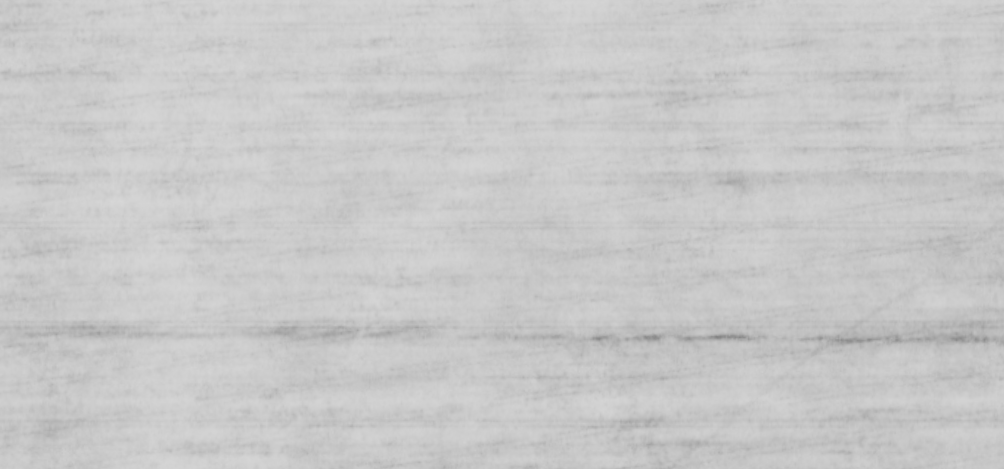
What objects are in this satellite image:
crop: (502, 234)

